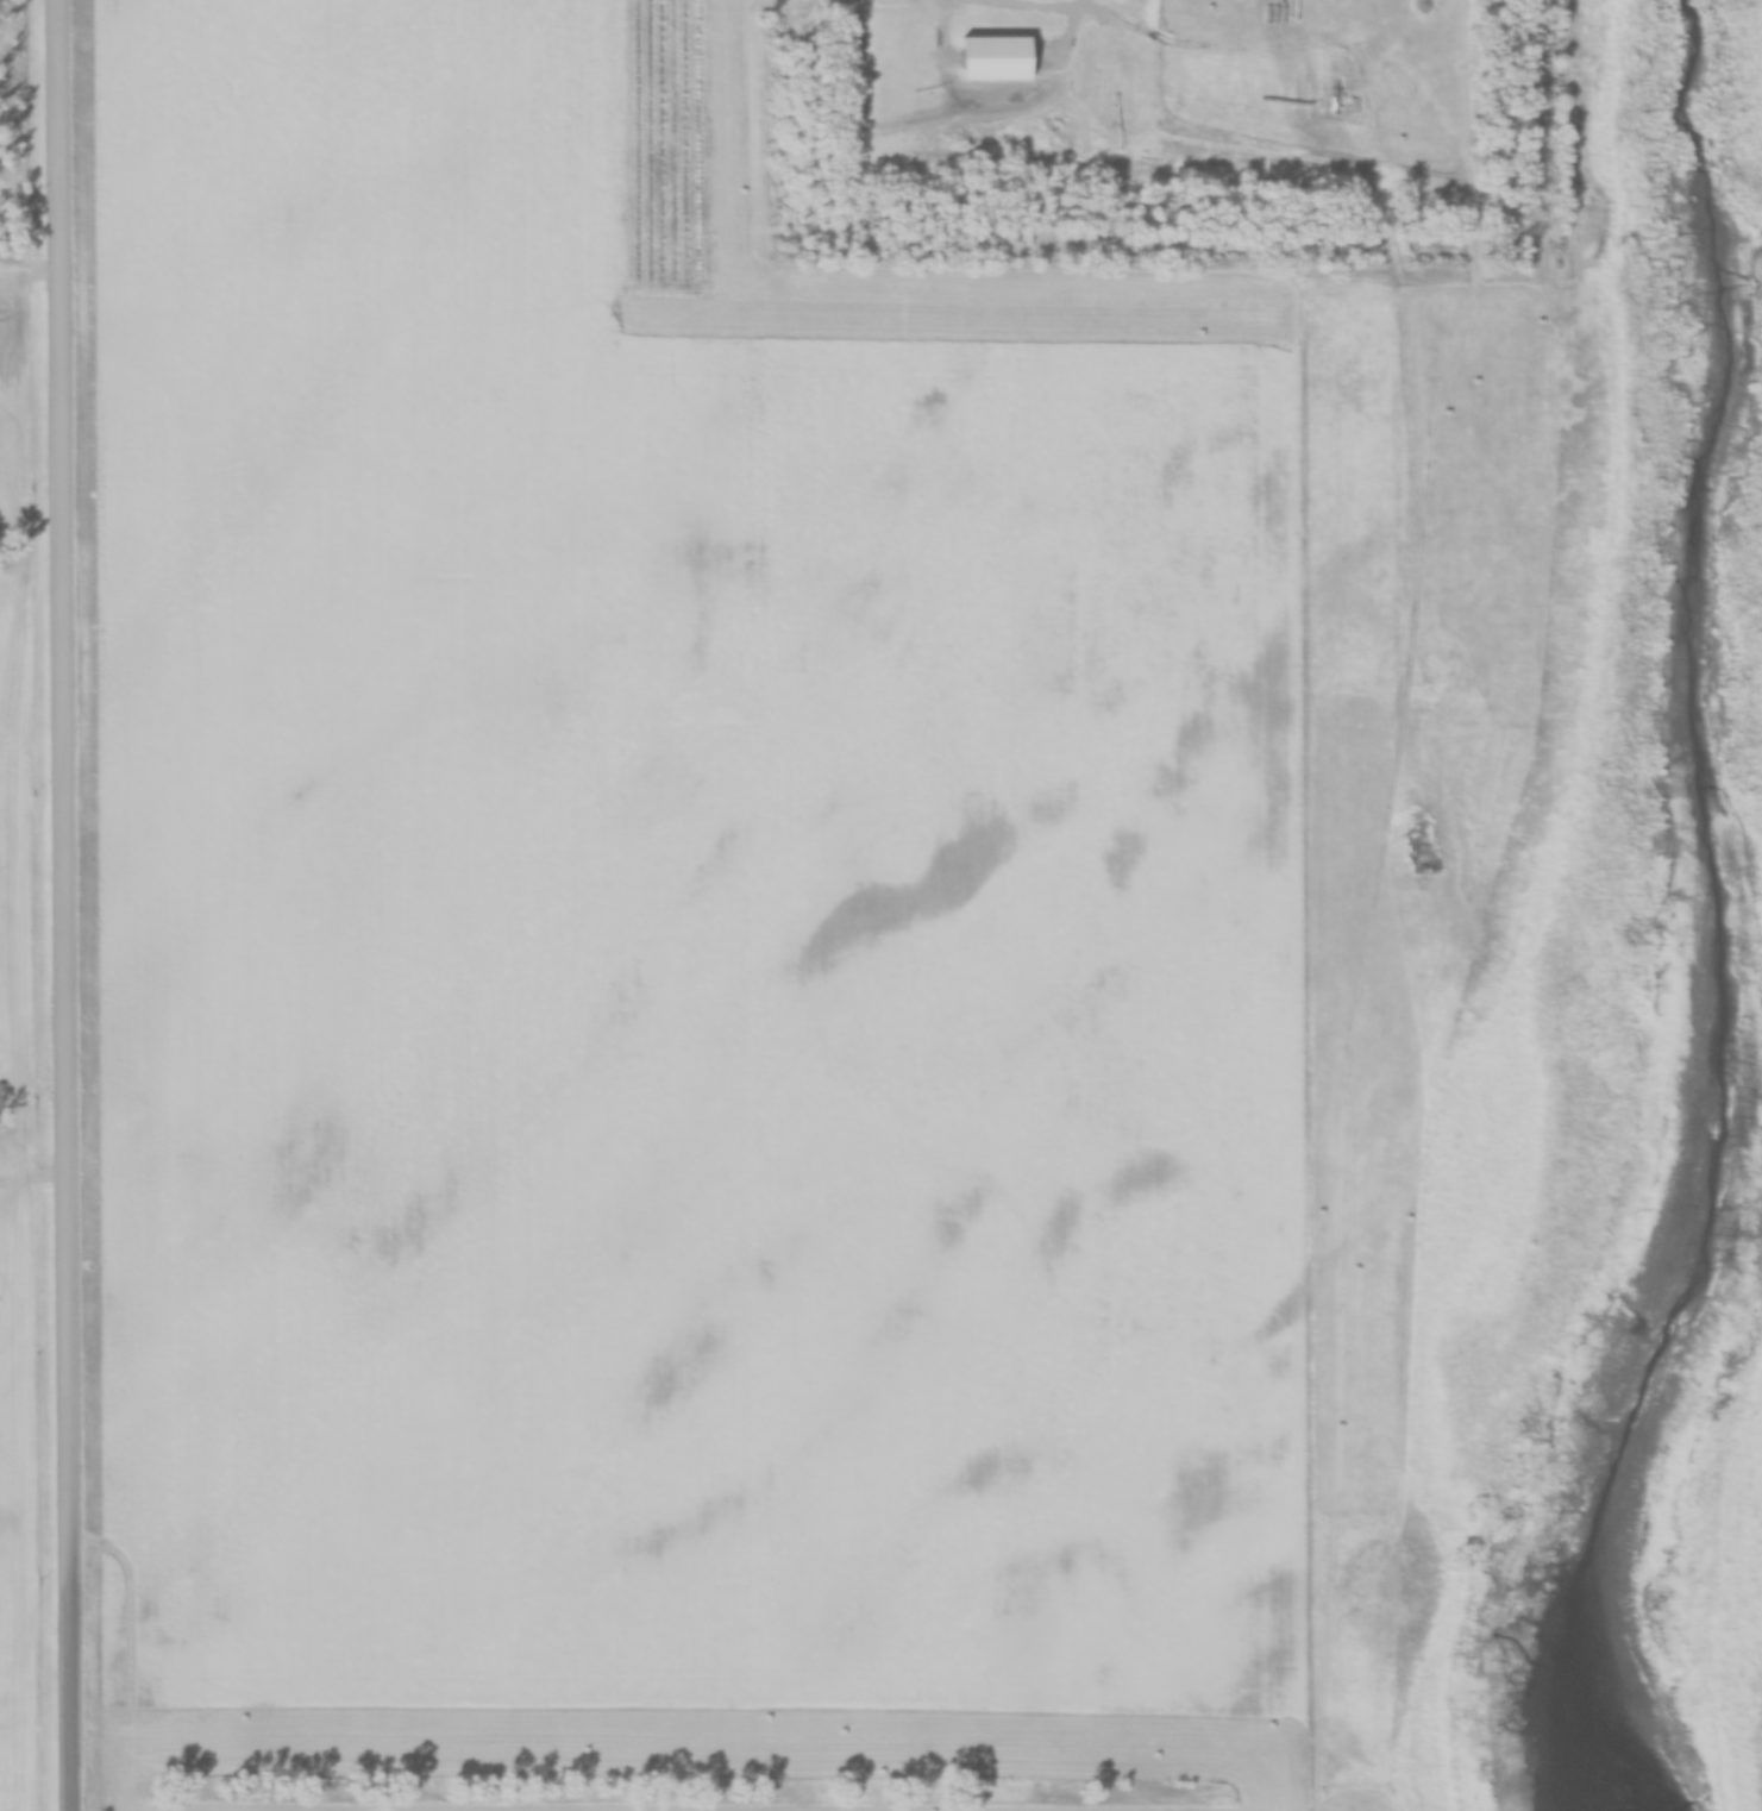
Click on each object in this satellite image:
building: (993, 57)
road: (67, 906)

